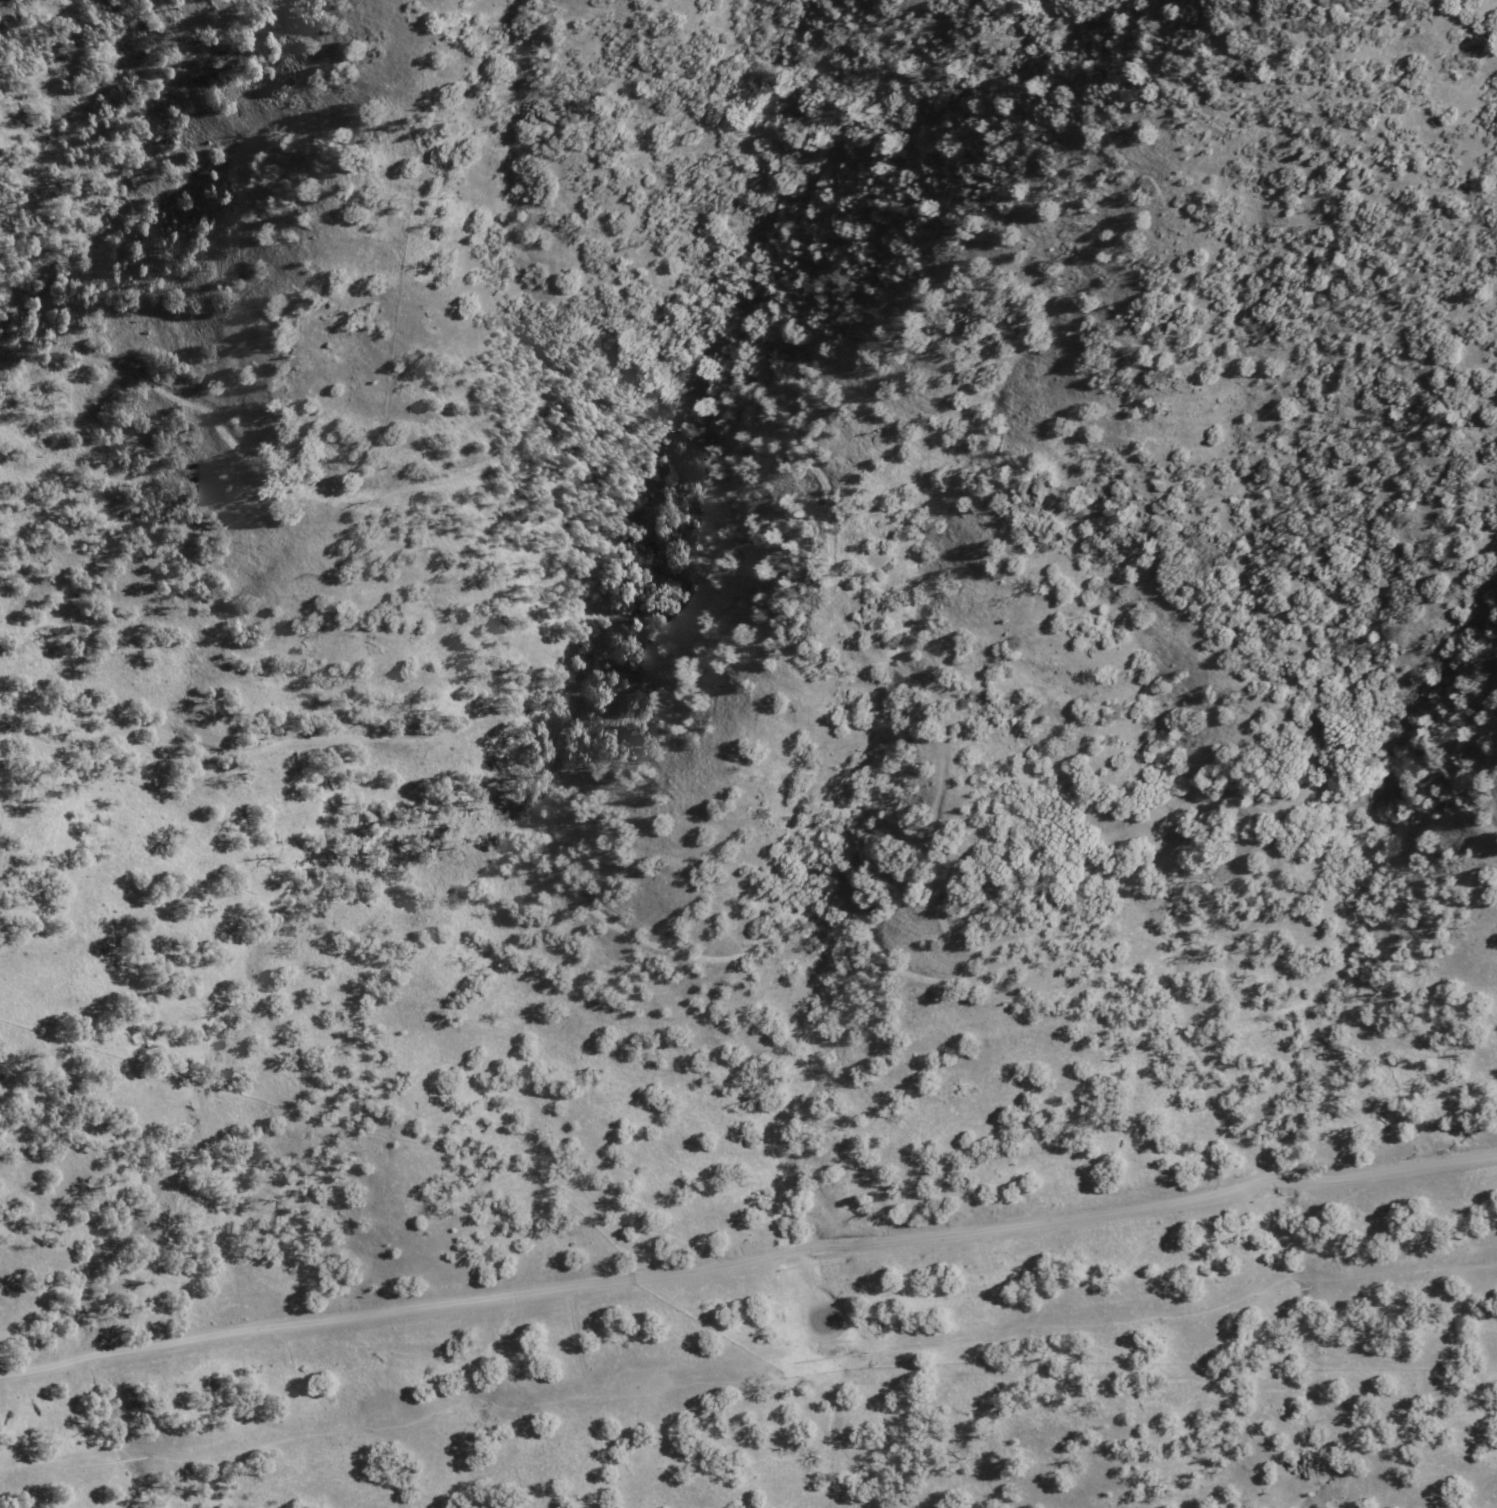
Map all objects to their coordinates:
road: (750, 1266)

